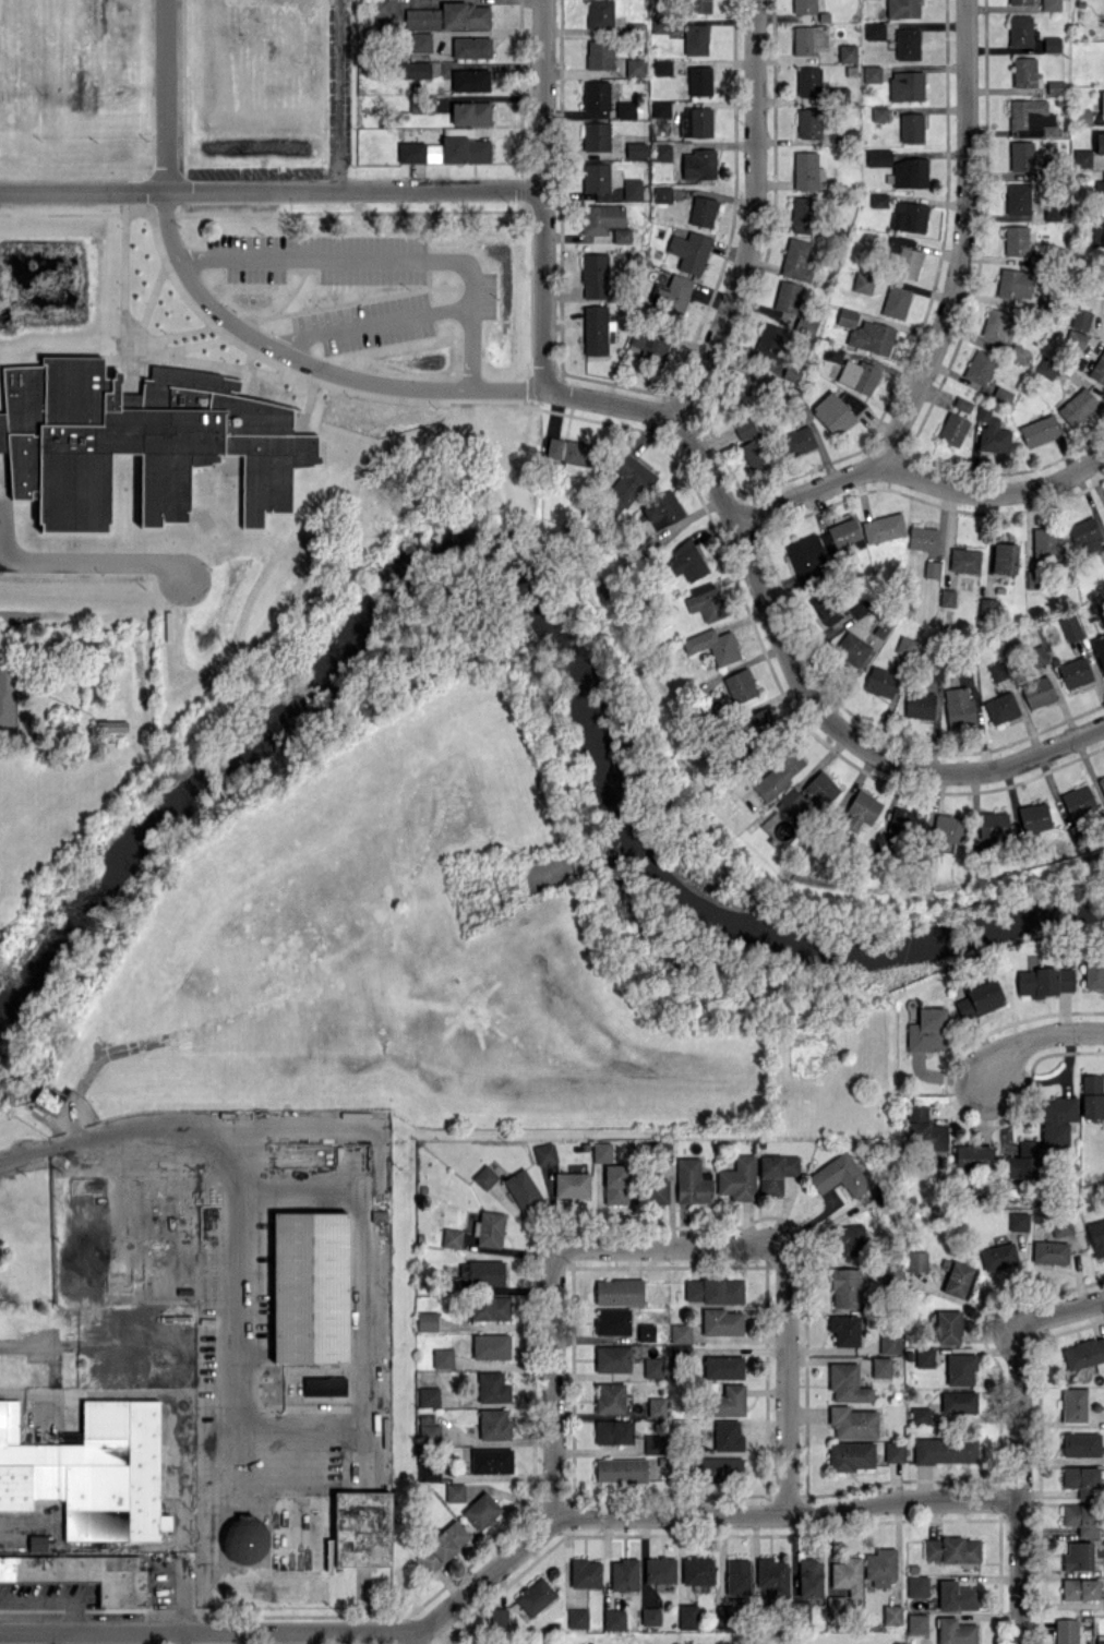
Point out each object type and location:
road: (166, 95)
road: (333, 95)
road: (271, 190)
road: (543, 193)
road: (752, 215)
road: (383, 256)
parking lot: (197, 267)
road: (946, 314)
road: (372, 323)
parking lot: (20, 332)
road: (307, 361)
road: (994, 491)
road: (97, 562)
track: (232, 568)
river: (531, 603)
road: (783, 643)
building: (0, 658)
park: (436, 933)
road: (1034, 1039)
road: (79, 1140)
road: (672, 1247)
road: (364, 1257)
road: (1063, 1312)
road: (236, 1358)
road: (791, 1379)
road: (554, 1382)
road: (1017, 1483)
road: (697, 1513)
road: (211, 1634)
road: (50, 1639)
road: (172, 1639)
road: (289, 1639)
road: (422, 1639)

